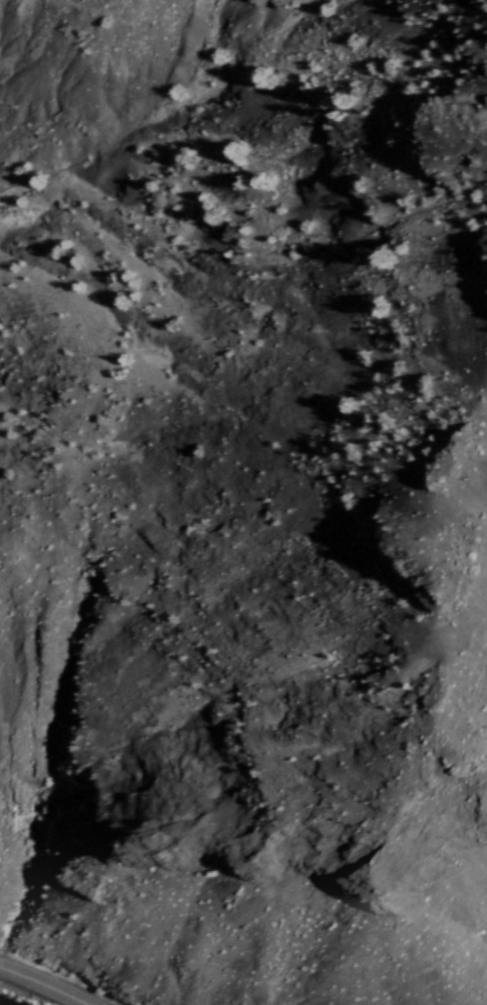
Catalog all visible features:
road: (34, 988)

